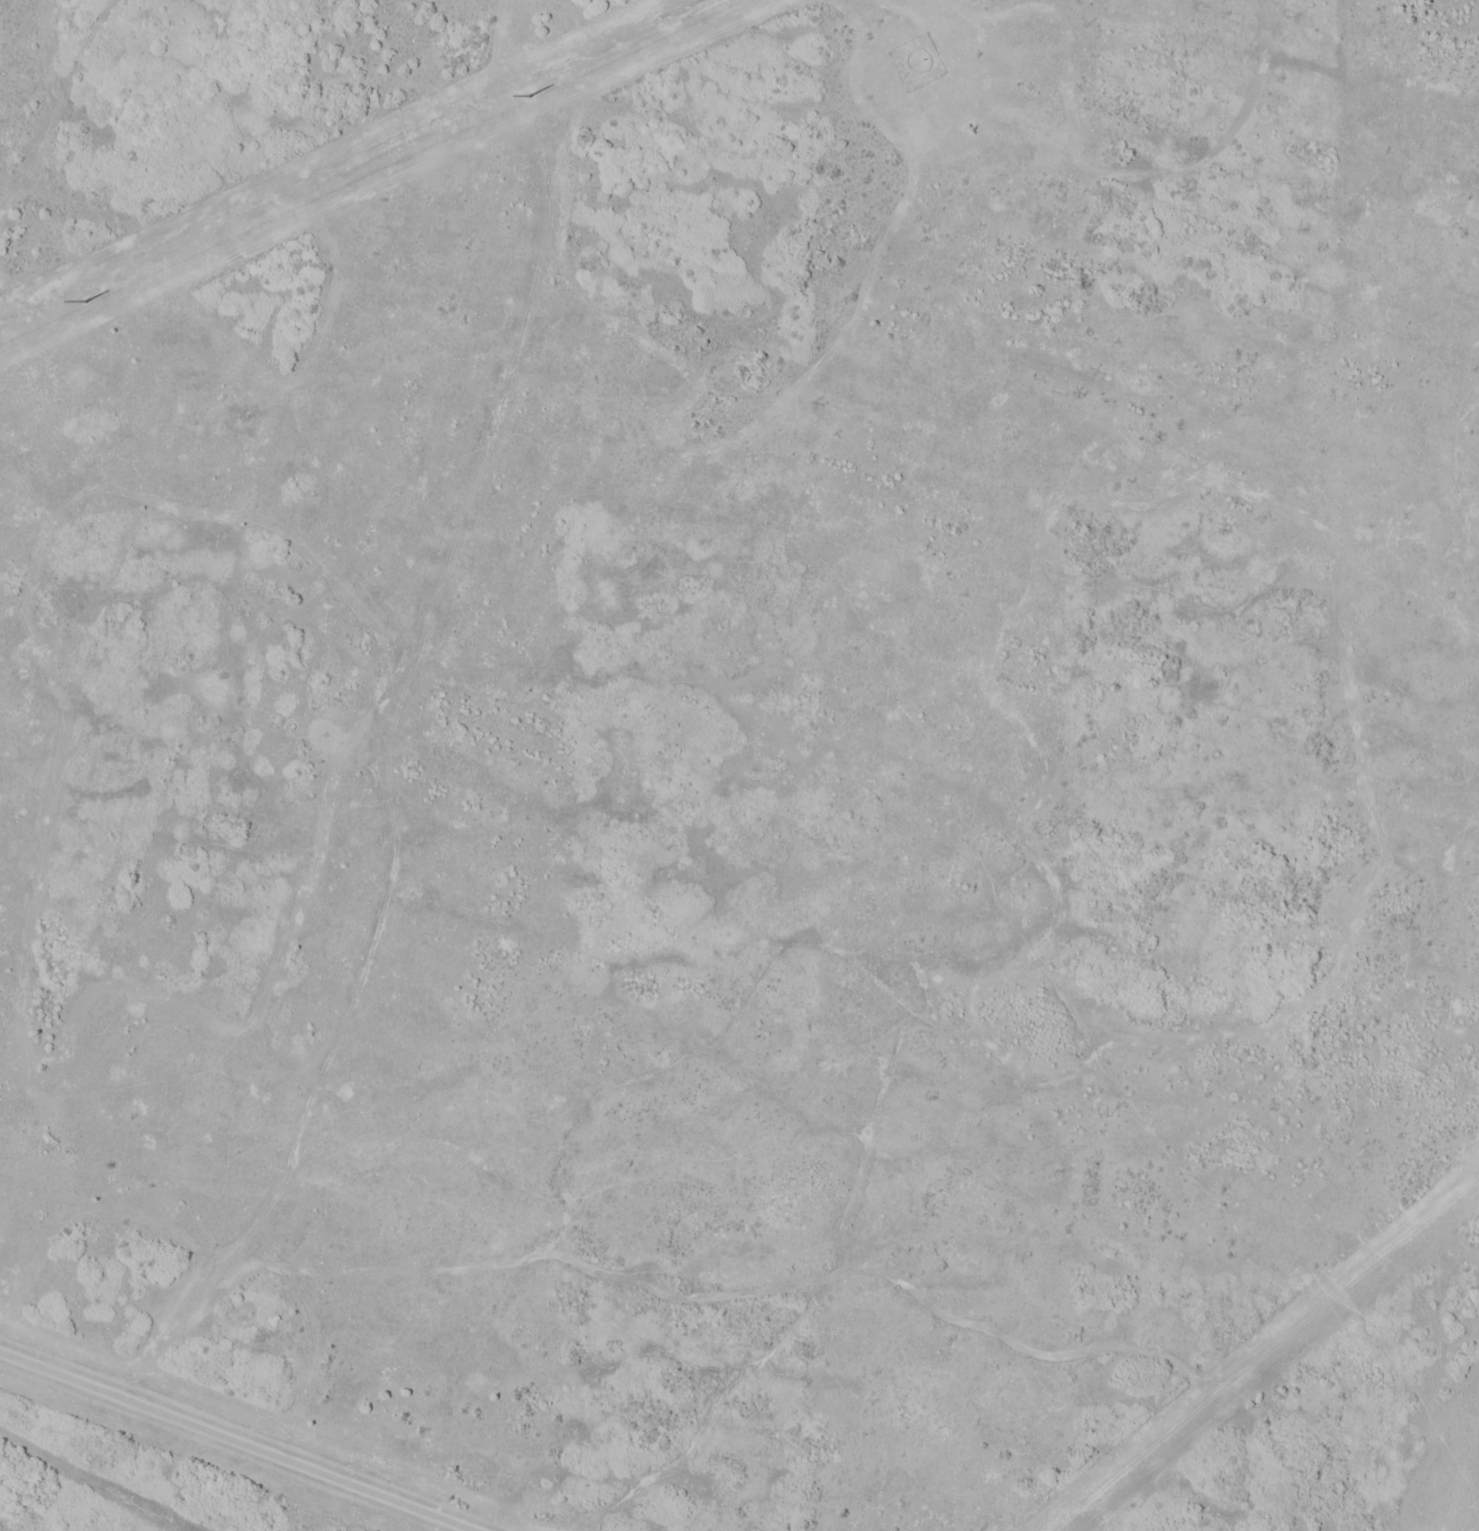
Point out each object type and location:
power tower: (526, 97)
power tower: (84, 302)
road: (253, 1437)

